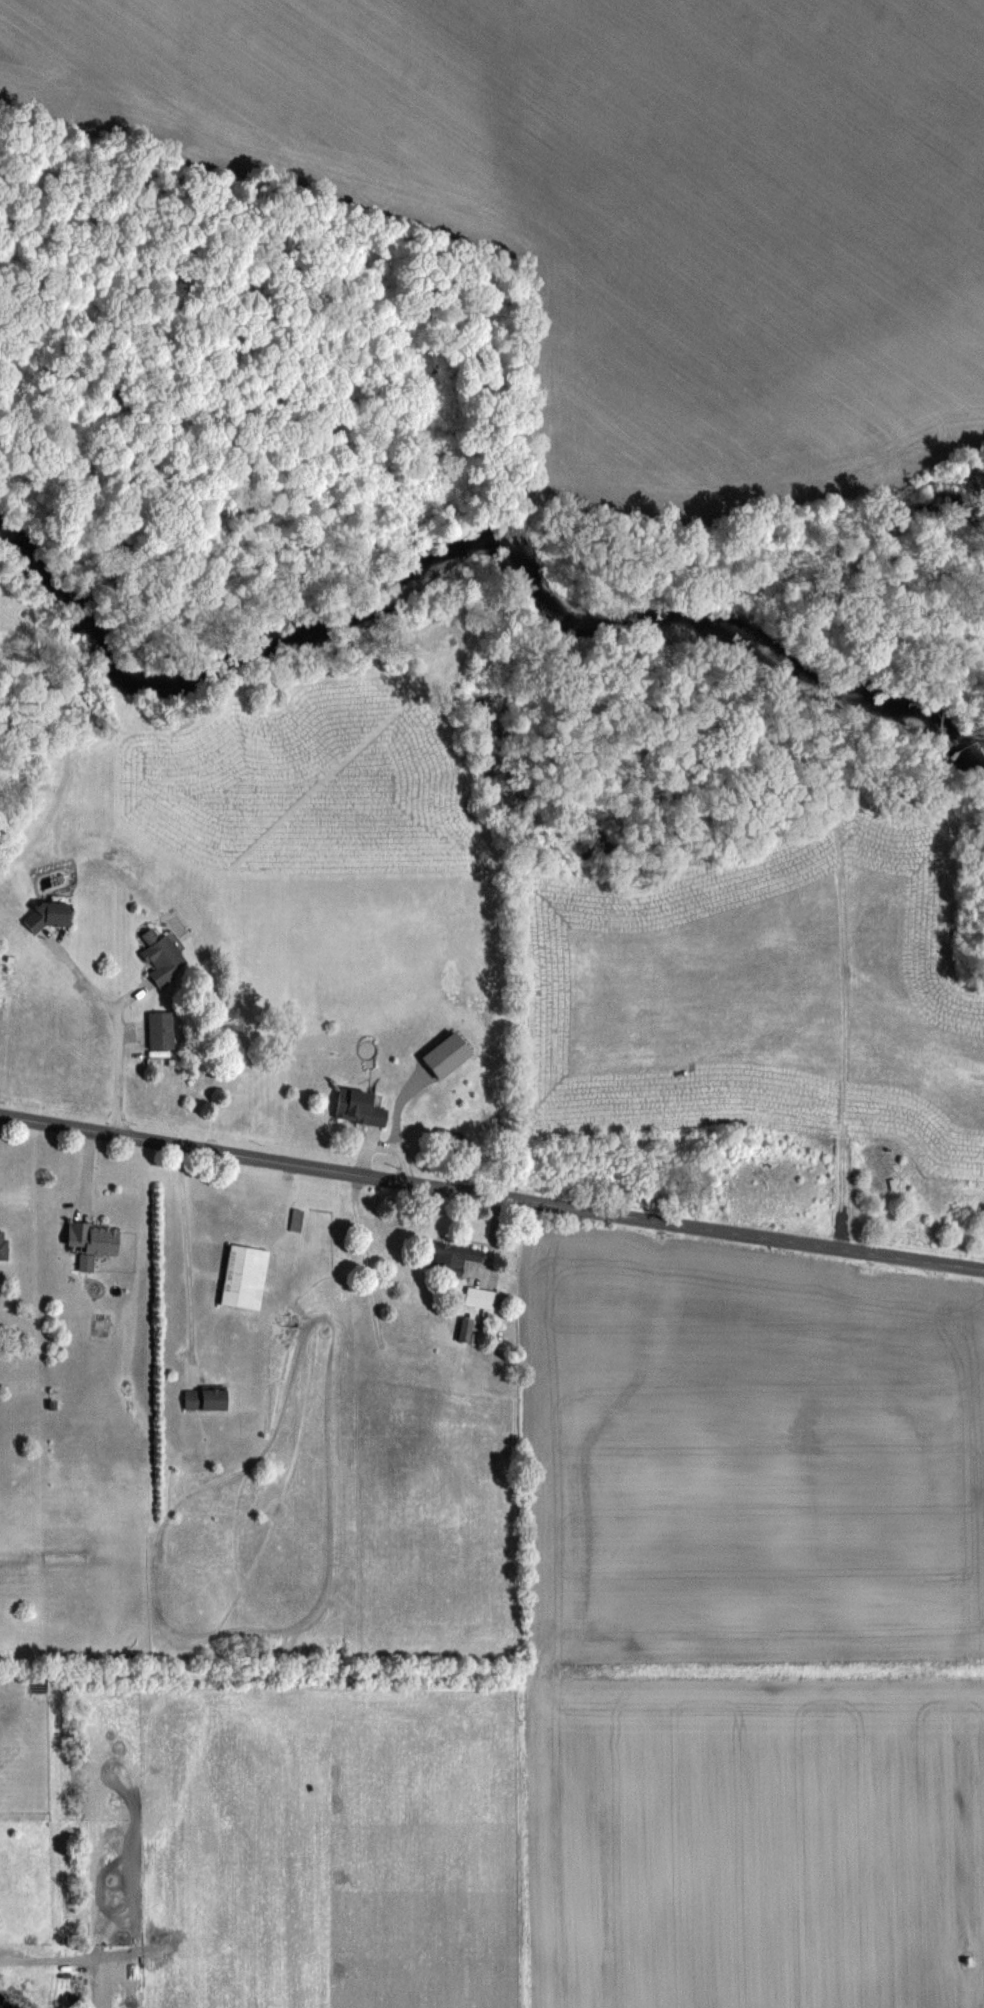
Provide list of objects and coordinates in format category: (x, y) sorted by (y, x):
crop: (617, 197)
river: (473, 534)
building: (49, 914)
building: (162, 957)
road: (117, 1023)
building: (159, 1030)
building: (357, 1106)
road: (491, 1192)
building: (295, 1220)
building: (92, 1238)
building: (3, 1245)
building: (450, 1257)
road: (186, 1259)
building: (243, 1276)
building: (204, 1396)

